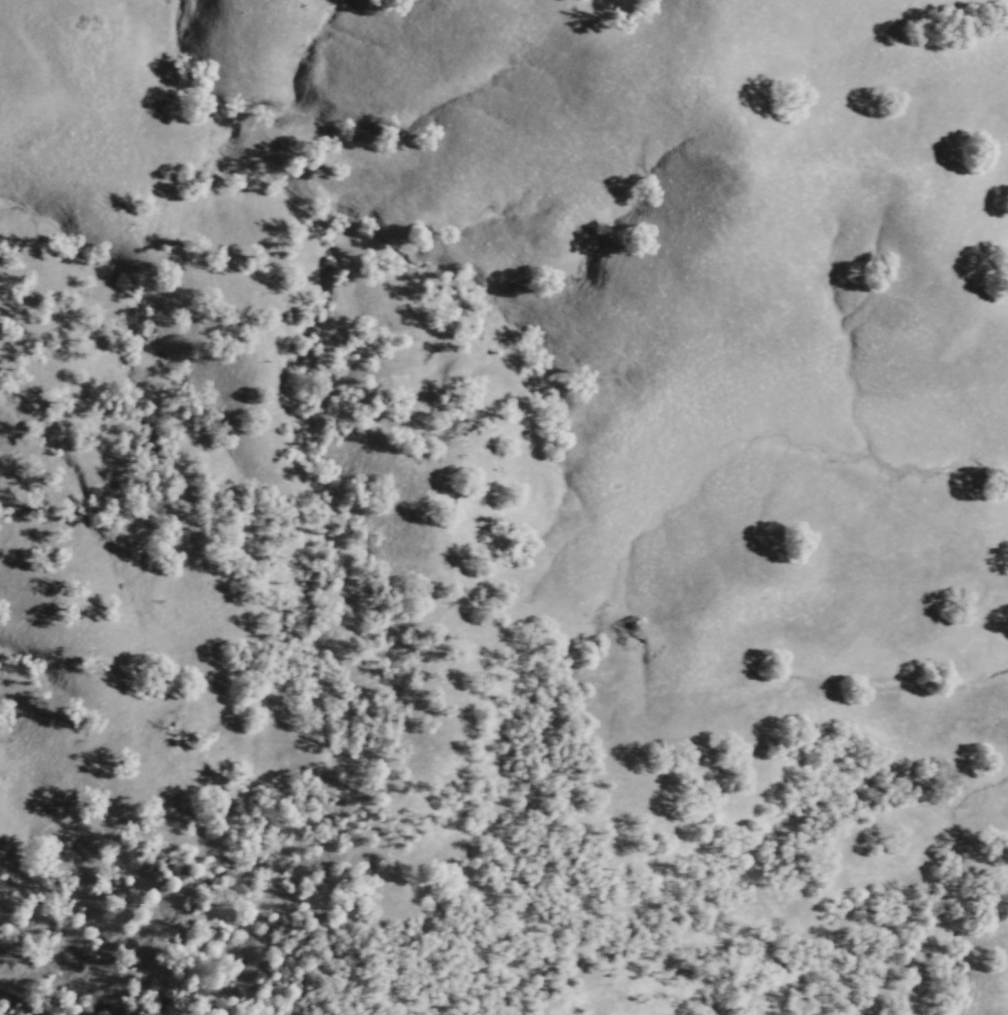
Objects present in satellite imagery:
road: (787, 285)
road: (933, 522)
road: (1005, 614)

